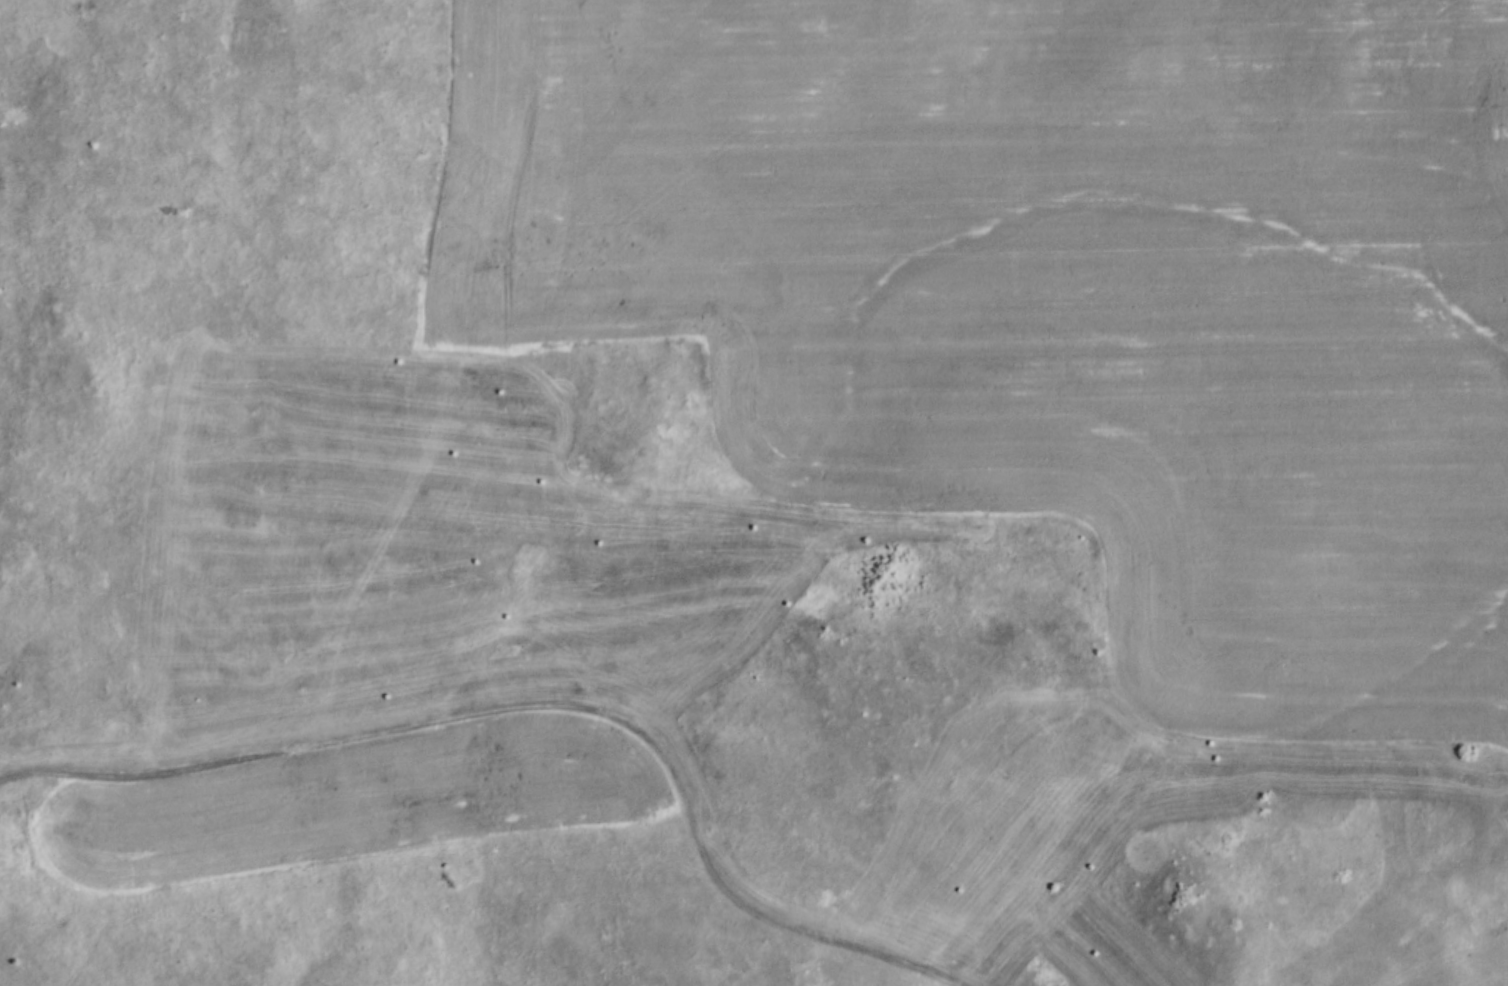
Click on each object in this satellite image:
road: (535, 709)

